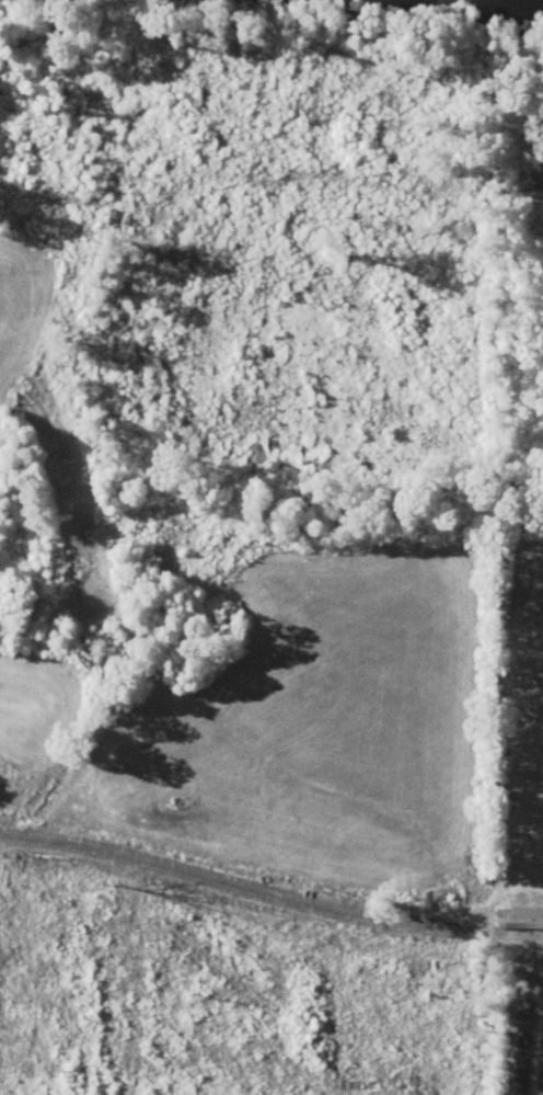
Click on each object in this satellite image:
building: (524, 919)

